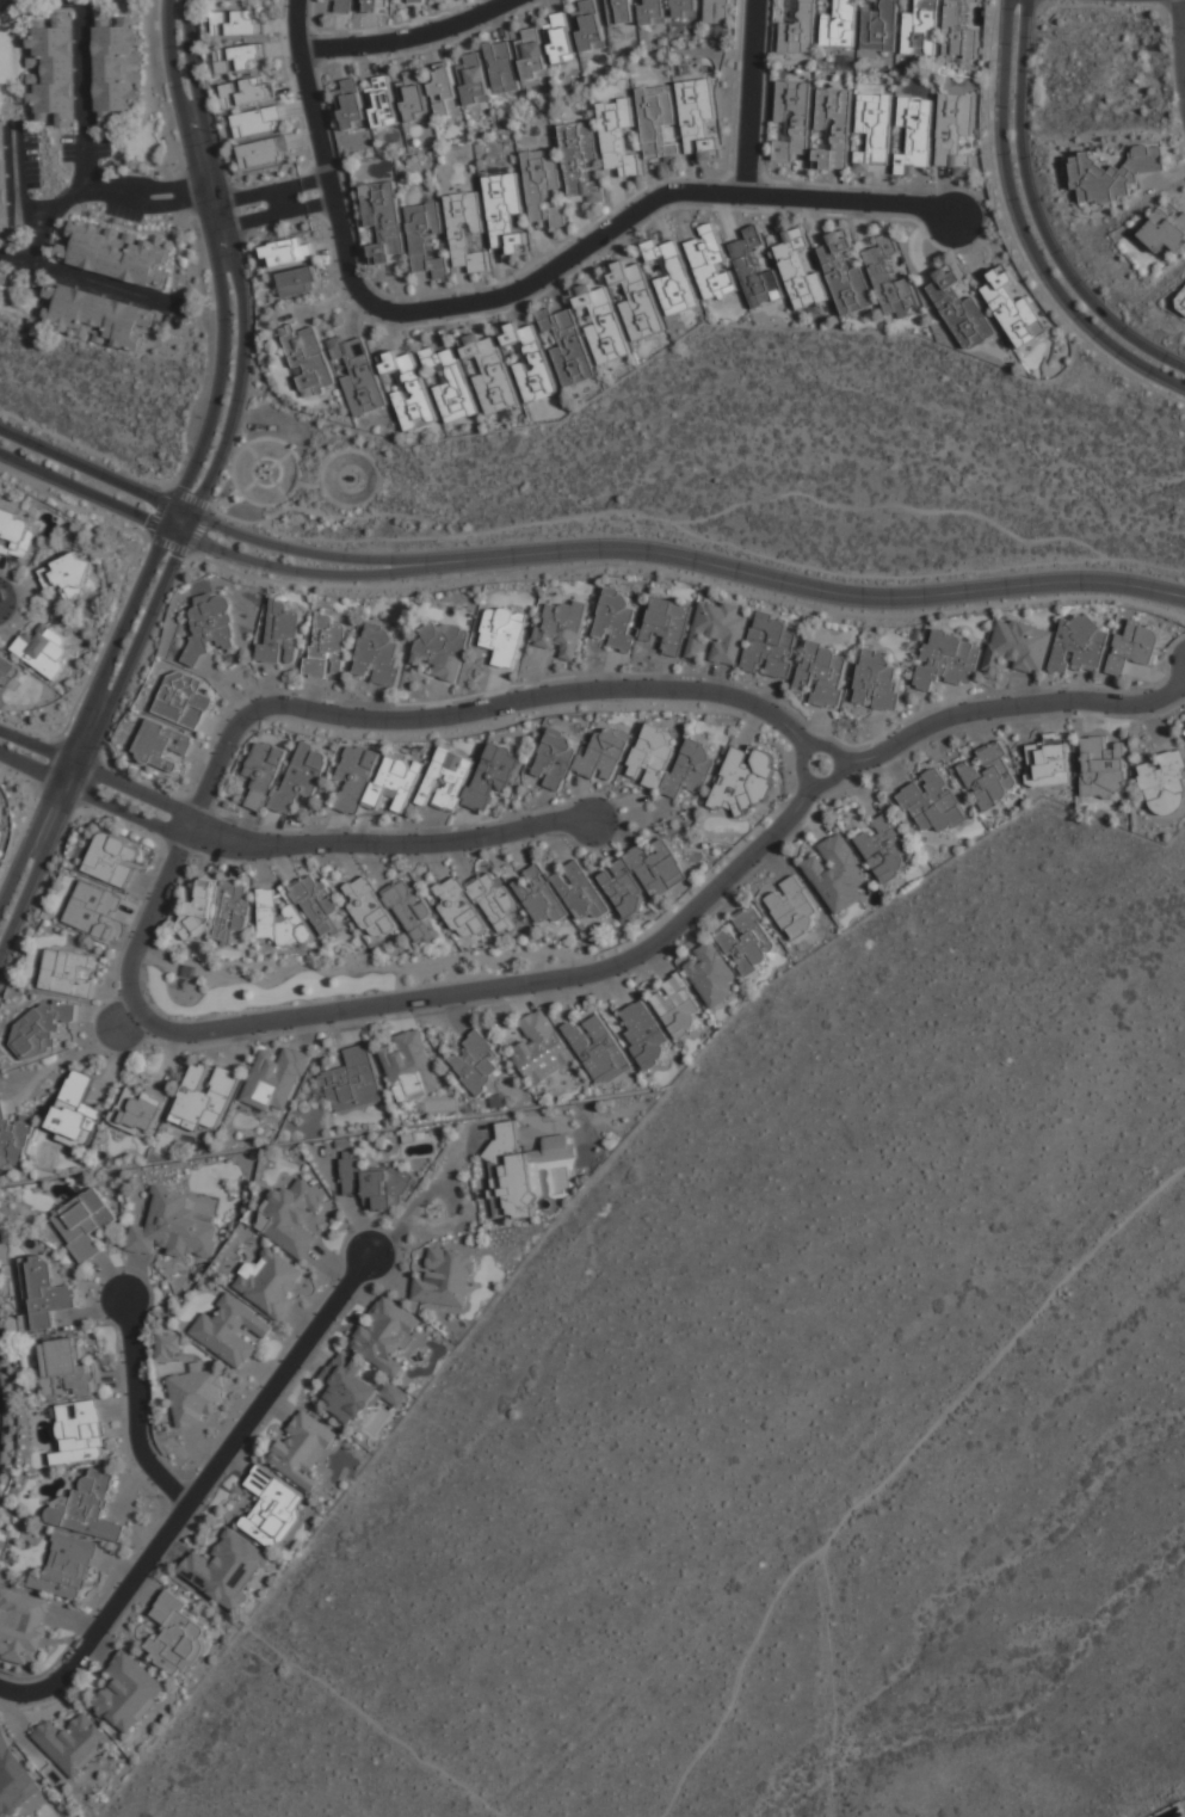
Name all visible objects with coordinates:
building: (247, 0)
building: (411, 1)
road: (1033, 2)
building: (345, 6)
building: (377, 6)
road: (1107, 6)
building: (686, 8)
building: (621, 12)
building: (655, 12)
building: (720, 12)
building: (236, 24)
building: (590, 25)
building: (840, 25)
building: (880, 26)
building: (800, 29)
building: (921, 29)
building: (958, 31)
road: (1179, 36)
road: (407, 38)
building: (561, 38)
building: (532, 54)
building: (240, 58)
building: (116, 67)
building: (502, 67)
building: (51, 72)
building: (474, 79)
building: (247, 92)
building: (444, 93)
road: (86, 97)
building: (414, 97)
road: (747, 98)
building: (382, 101)
building: (351, 105)
building: (699, 118)
building: (794, 119)
building: (258, 122)
building: (659, 124)
building: (833, 129)
building: (874, 131)
building: (953, 134)
building: (618, 135)
building: (914, 136)
road: (317, 144)
building: (967, 144)
building: (264, 150)
building: (580, 160)
building: (1115, 174)
building: (4, 179)
road: (18, 180)
road: (313, 184)
road: (166, 185)
building: (543, 186)
road: (252, 196)
road: (167, 205)
road: (319, 205)
road: (57, 207)
road: (637, 211)
building: (505, 214)
road: (1036, 216)
road: (258, 218)
building: (384, 220)
road: (1023, 229)
building: (467, 230)
building: (1165, 232)
building: (426, 239)
road: (1012, 239)
road: (197, 245)
building: (288, 252)
building: (112, 253)
building: (711, 265)
road: (217, 266)
building: (755, 269)
building: (801, 269)
road: (235, 270)
building: (846, 273)
building: (4, 275)
building: (671, 275)
building: (890, 279)
road: (90, 282)
building: (300, 282)
building: (636, 300)
building: (1181, 303)
building: (961, 309)
building: (1013, 309)
building: (95, 316)
building: (603, 324)
building: (567, 346)
building: (308, 359)
building: (530, 363)
building: (489, 372)
building: (358, 377)
building: (450, 383)
building: (409, 390)
road: (87, 469)
road: (84, 489)
building: (16, 535)
road: (189, 548)
road: (285, 548)
road: (280, 567)
road: (685, 574)
building: (67, 577)
road: (791, 583)
road: (123, 585)
building: (616, 620)
building: (210, 623)
building: (668, 624)
building: (561, 628)
building: (720, 632)
building: (278, 634)
building: (504, 635)
building: (1080, 645)
building: (326, 646)
building: (771, 646)
building: (1017, 647)
building: (1134, 648)
building: (43, 649)
building: (444, 649)
building: (377, 654)
building: (946, 660)
building: (6, 672)
building: (822, 673)
building: (877, 680)
building: (183, 700)
road: (1012, 707)
road: (471, 712)
road: (82, 719)
building: (1184, 731)
road: (91, 741)
road: (32, 746)
building: (162, 746)
building: (580, 756)
building: (1050, 760)
building: (669, 763)
road: (27, 765)
building: (1101, 768)
building: (263, 772)
building: (302, 775)
road: (803, 776)
building: (990, 776)
building: (468, 777)
building: (747, 778)
building: (376, 780)
building: (1165, 783)
road: (130, 788)
building: (932, 802)
road: (122, 809)
road: (393, 845)
building: (884, 848)
building: (113, 860)
building: (837, 874)
building: (642, 877)
building: (560, 894)
building: (316, 903)
building: (476, 905)
building: (369, 907)
building: (792, 907)
building: (93, 908)
building: (411, 910)
building: (216, 911)
building: (278, 920)
building: (748, 941)
building: (67, 973)
building: (695, 991)
road: (405, 1004)
building: (42, 1025)
building: (644, 1034)
building: (541, 1049)
building: (598, 1051)
building: (476, 1064)
building: (411, 1066)
building: (276, 1078)
building: (353, 1082)
building: (205, 1095)
building: (140, 1108)
building: (75, 1111)
building: (14, 1138)
building: (519, 1170)
building: (375, 1185)
building: (294, 1218)
building: (84, 1224)
building: (173, 1228)
building: (445, 1279)
building: (272, 1283)
building: (47, 1293)
building: (230, 1331)
building: (387, 1336)
building: (167, 1347)
building: (67, 1369)
building: (352, 1390)
building: (196, 1394)
road: (136, 1405)
building: (80, 1433)
building: (302, 1450)
road: (895, 1468)
road: (195, 1492)
building: (272, 1507)
building: (87, 1508)
building: (67, 1567)
building: (227, 1569)
building: (21, 1627)
building: (175, 1637)
road: (831, 1684)
building: (129, 1694)
building: (73, 1744)
building: (14, 1780)

